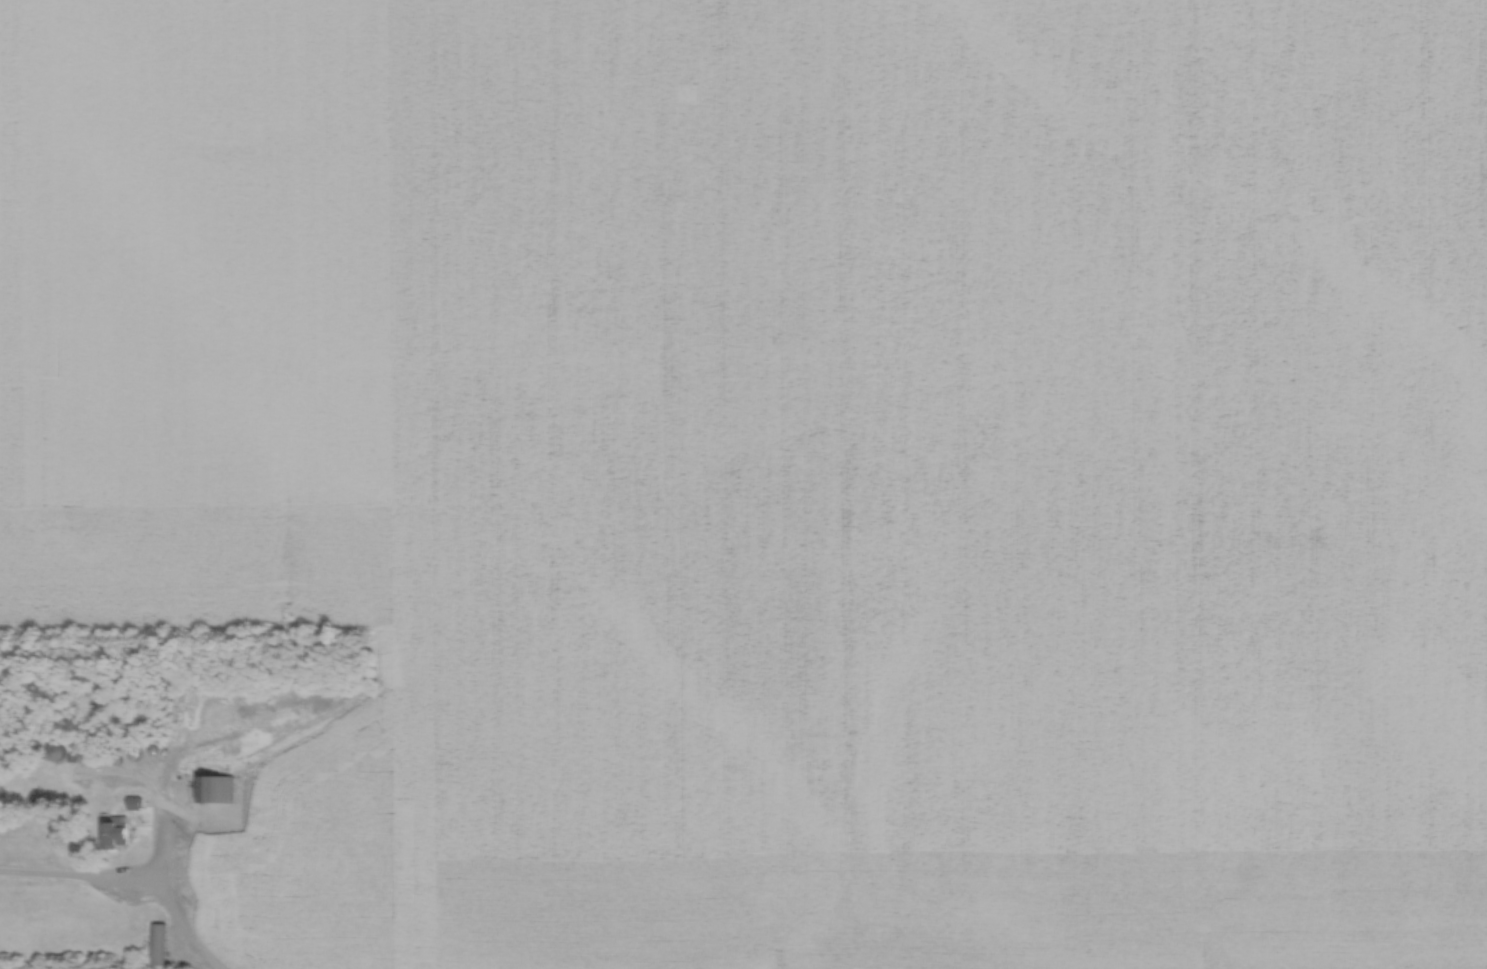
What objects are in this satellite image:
building: (55, 749)
building: (216, 786)
building: (135, 801)
building: (115, 830)
road: (125, 879)
building: (157, 943)

